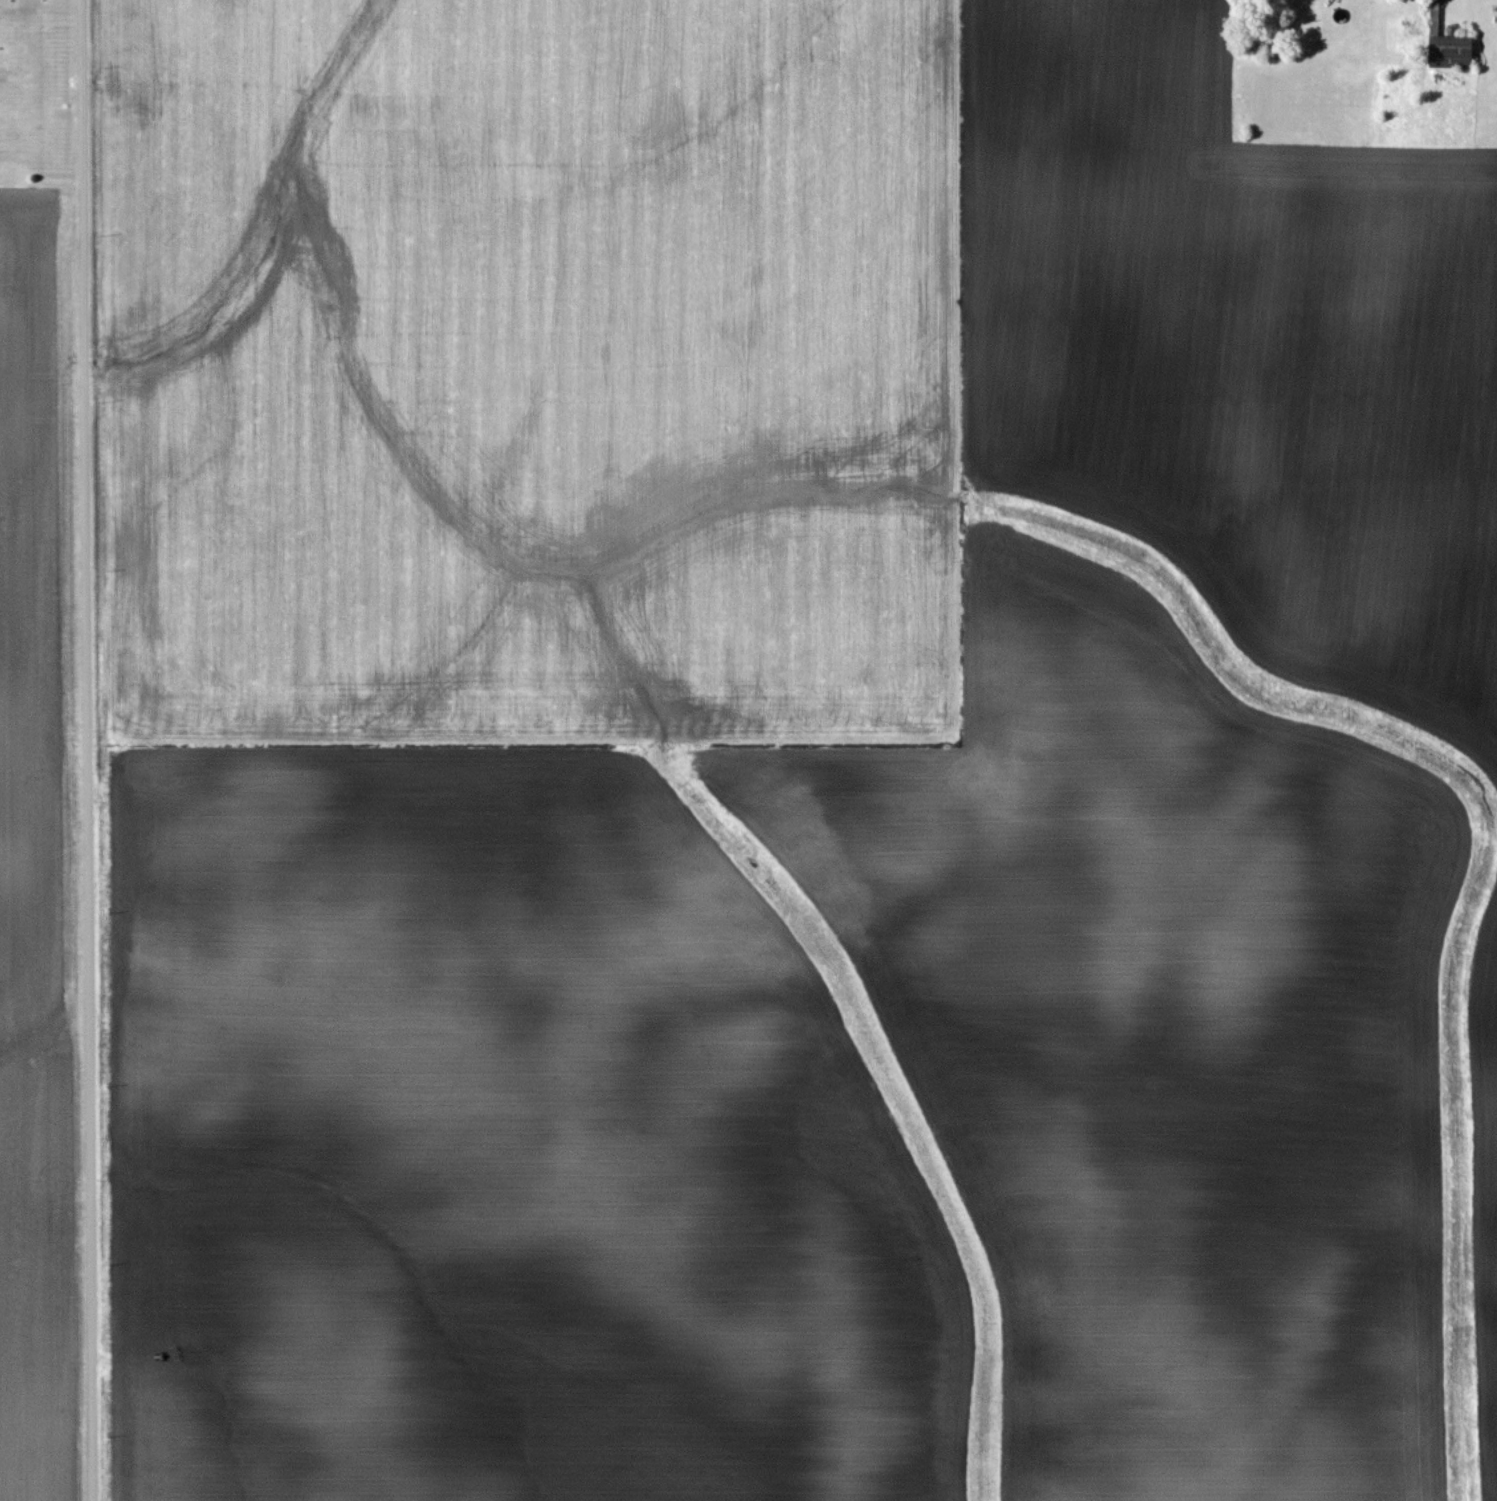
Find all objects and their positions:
park: (33, 91)
road: (83, 750)

